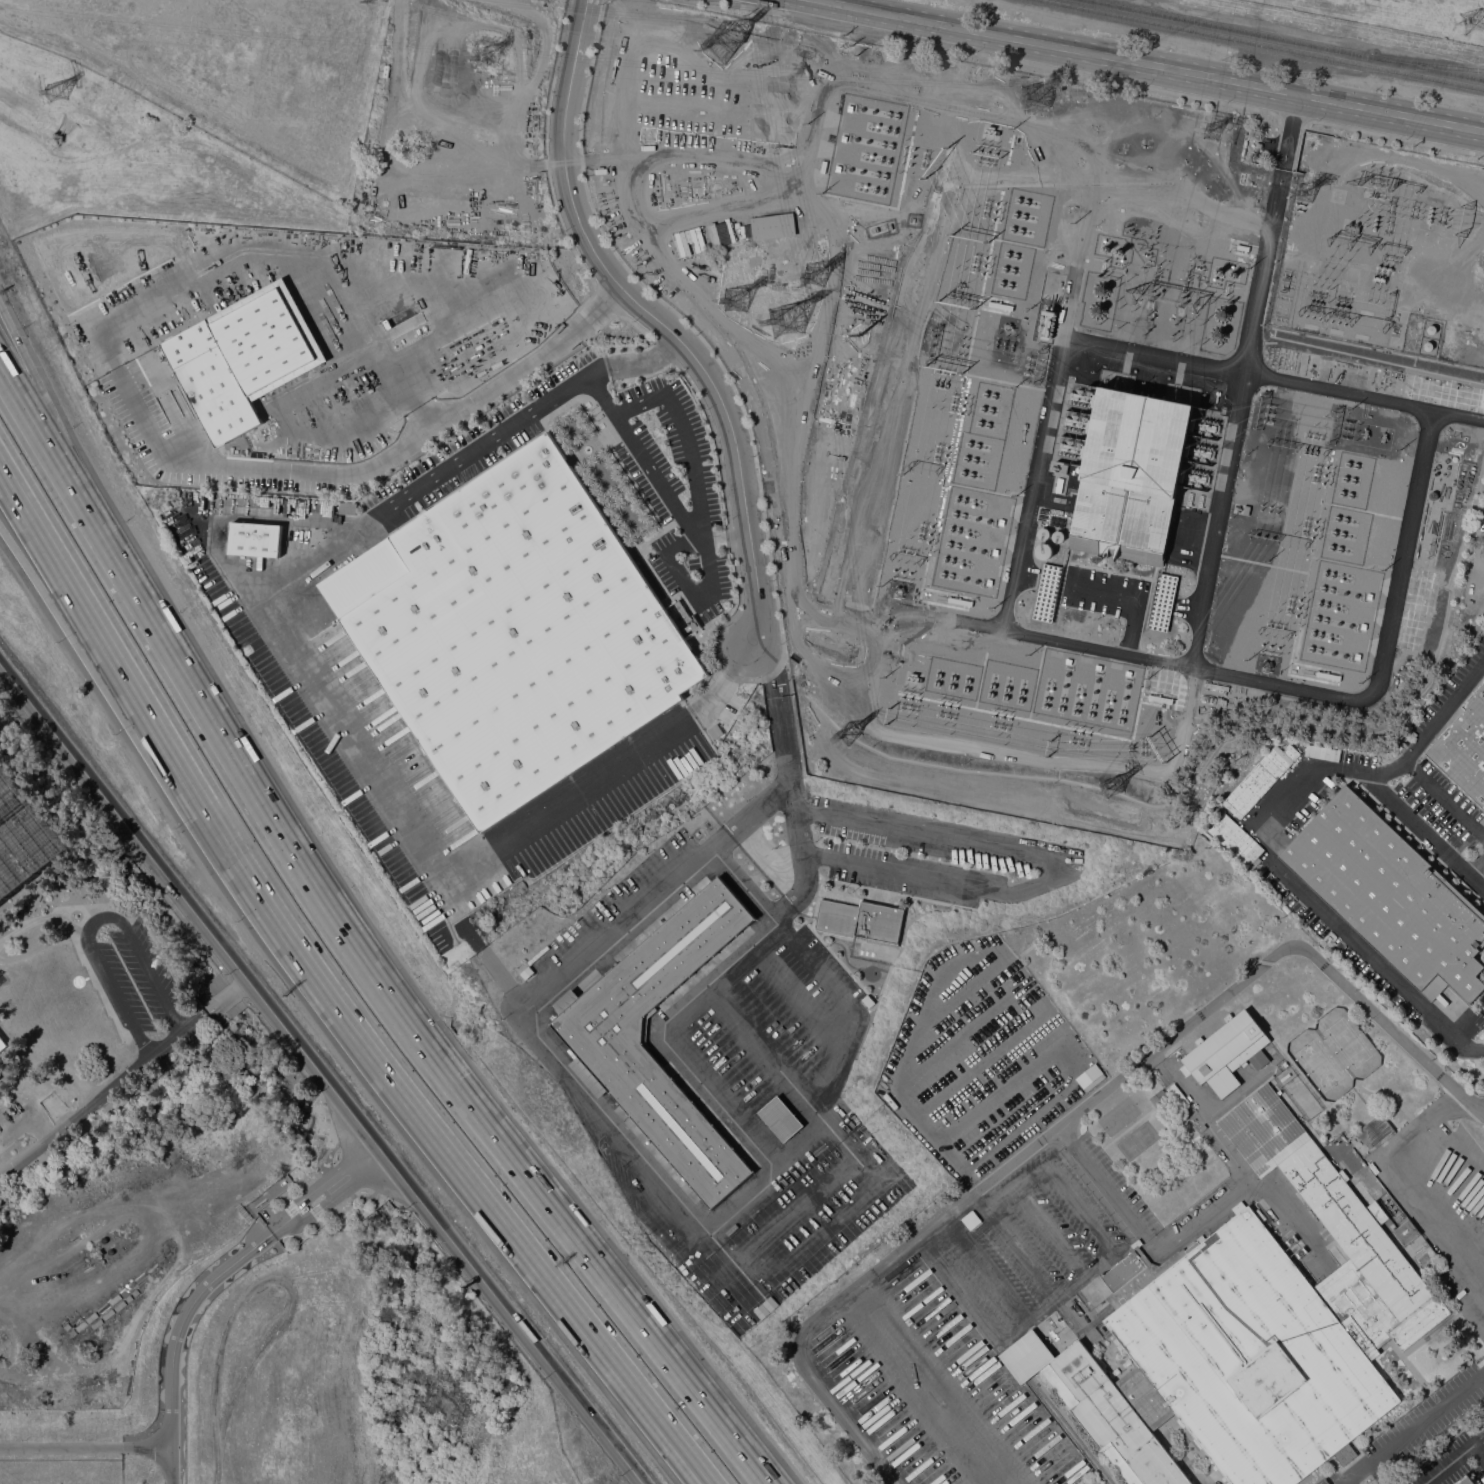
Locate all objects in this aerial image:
power tower: (1479, 26)
railway: (1235, 29)
power tower: (724, 44)
railway: (1263, 44)
power tower: (487, 58)
railway: (1433, 64)
road: (1142, 67)
railway: (1433, 69)
power tower: (60, 96)
power tower: (1037, 98)
power tower: (650, 138)
power tower: (1146, 152)
power tower: (1208, 176)
power tower: (1312, 195)
building: (768, 226)
power tower: (819, 274)
building: (884, 276)
road: (200, 282)
building: (1101, 289)
power tower: (735, 298)
building: (1097, 310)
road: (657, 322)
building: (1047, 323)
power tower: (785, 324)
building: (1220, 324)
building: (1431, 329)
building: (1428, 345)
road: (13, 355)
road: (631, 359)
building: (238, 361)
road: (1243, 382)
road: (13, 386)
road: (1364, 395)
road: (1052, 397)
building: (1083, 397)
power tower: (1118, 412)
building: (1079, 423)
building: (1204, 426)
road: (684, 436)
power substation: (1147, 446)
building: (1074, 448)
building: (1199, 452)
building: (1063, 468)
building: (1080, 469)
building: (1131, 476)
building: (1194, 477)
building: (1059, 485)
building: (1190, 498)
building: (1058, 499)
building: (1201, 500)
building: (347, 509)
building: (1246, 510)
building: (1056, 511)
road: (244, 516)
building: (1483, 520)
building: (1044, 533)
building: (1058, 536)
building: (254, 538)
building: (1044, 550)
road: (50, 551)
road: (50, 577)
building: (1047, 592)
road: (258, 593)
building: (1162, 601)
building: (689, 627)
building: (514, 631)
road: (1050, 635)
road: (1383, 641)
building: (715, 731)
power tower: (847, 735)
building: (1464, 748)
building: (1322, 752)
road: (1379, 771)
building: (1260, 779)
power tower: (1117, 788)
road: (1444, 797)
building: (1482, 821)
road: (1423, 831)
building: (1234, 837)
road: (1040, 866)
road: (746, 886)
building: (1391, 895)
road: (46, 913)
road: (95, 919)
building: (861, 920)
road: (1357, 945)
power substation: (81, 962)
road: (369, 965)
road: (797, 995)
building: (602, 1032)
building: (3, 1043)
road: (841, 1044)
road: (766, 1052)
building: (1227, 1052)
road: (319, 1071)
road: (388, 1071)
building: (1285, 1077)
road: (124, 1079)
building: (1177, 1095)
building: (1161, 1100)
road: (1432, 1114)
road: (1071, 1115)
building: (781, 1118)
building: (1374, 1130)
building: (1353, 1162)
road: (1453, 1191)
road: (1402, 1195)
building: (304, 1209)
road: (728, 1217)
building: (971, 1219)
road: (1205, 1219)
road: (277, 1229)
building: (1405, 1231)
road: (1465, 1275)
building: (1247, 1334)
road: (178, 1336)
road: (1414, 1429)
road: (84, 1448)
road: (1455, 1462)
building: (1464, 1480)

